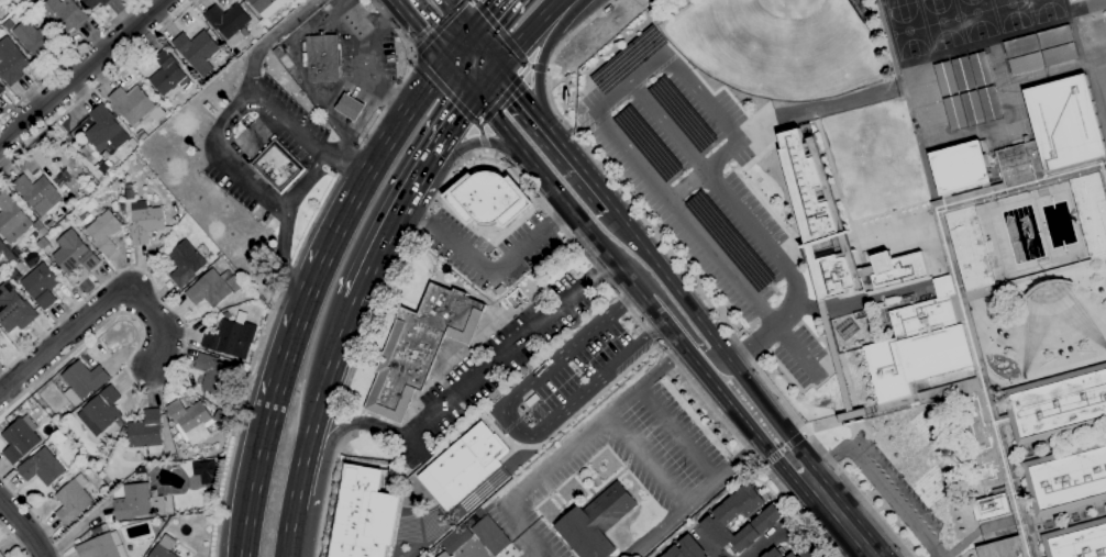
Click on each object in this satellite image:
building: (275, 0)
road: (473, 1)
park: (897, 2)
road: (1099, 2)
building: (95, 3)
building: (261, 4)
building: (607, 9)
park: (1047, 10)
park: (1011, 13)
building: (64, 15)
road: (460, 15)
road: (486, 16)
park: (976, 19)
building: (228, 20)
road: (378, 20)
park: (942, 23)
building: (8, 25)
road: (440, 26)
road: (423, 30)
road: (499, 31)
park: (908, 31)
road: (528, 32)
traffic signals: (472, 34)
road: (267, 38)
building: (36, 40)
park: (776, 46)
road: (460, 47)
building: (197, 51)
road: (486, 51)
building: (1040, 51)
building: (277, 54)
road: (412, 55)
road: (68, 58)
road: (542, 58)
building: (322, 59)
road: (412, 59)
traffic signals: (449, 60)
building: (627, 60)
road: (361, 62)
building: (11, 63)
road: (527, 65)
traffic signals: (500, 67)
road: (538, 68)
road: (81, 70)
road: (548, 70)
road: (524, 71)
road: (403, 74)
building: (168, 75)
road: (462, 77)
road: (487, 80)
road: (97, 83)
building: (1, 90)
road: (360, 90)
road: (445, 91)
building: (969, 91)
traffic signals: (475, 94)
road: (519, 94)
road: (501, 99)
building: (133, 105)
building: (350, 108)
gas station: (350, 108)
road: (351, 108)
building: (682, 114)
road: (717, 116)
road: (222, 118)
road: (480, 125)
road: (667, 126)
road: (451, 127)
road: (477, 127)
building: (103, 129)
building: (1055, 131)
building: (142, 135)
road: (345, 137)
road: (475, 142)
road: (483, 142)
building: (648, 143)
road: (485, 151)
road: (381, 154)
road: (347, 161)
road: (349, 161)
road: (577, 164)
building: (961, 167)
building: (278, 168)
road: (306, 179)
road: (418, 181)
building: (33, 191)
parking lot: (703, 191)
building: (489, 199)
road: (670, 202)
building: (1092, 211)
building: (11, 219)
road: (316, 221)
building: (144, 222)
building: (36, 226)
road: (561, 227)
building: (834, 230)
building: (103, 232)
building: (31, 242)
building: (730, 242)
road: (768, 243)
building: (42, 244)
parking lot: (486, 247)
building: (0, 249)
road: (379, 249)
building: (970, 249)
building: (74, 253)
building: (8, 255)
road: (284, 260)
building: (185, 264)
road: (488, 271)
road: (288, 276)
road: (687, 280)
building: (41, 286)
building: (209, 289)
road: (635, 289)
road: (622, 303)
road: (100, 307)
building: (13, 309)
building: (861, 315)
road: (684, 326)
building: (848, 330)
road: (298, 333)
building: (231, 338)
road: (712, 339)
road: (750, 343)
building: (919, 346)
building: (973, 346)
building: (420, 348)
road: (509, 348)
road: (629, 348)
road: (795, 350)
parking lot: (489, 365)
road: (548, 365)
road: (174, 369)
building: (212, 374)
road: (328, 376)
parking lot: (564, 380)
building: (82, 381)
building: (1057, 405)
road: (534, 406)
building: (101, 411)
road: (556, 414)
road: (572, 416)
building: (223, 419)
road: (240, 419)
building: (190, 420)
road: (352, 423)
road: (509, 424)
road: (499, 428)
building: (146, 432)
road: (338, 433)
road: (804, 433)
road: (676, 435)
building: (19, 442)
road: (794, 442)
road: (568, 448)
road: (783, 449)
road: (773, 457)
road: (646, 461)
building: (462, 465)
road: (764, 465)
building: (42, 468)
building: (204, 472)
road: (299, 479)
building: (1066, 480)
road: (877, 481)
parking lot: (897, 482)
road: (255, 483)
road: (325, 492)
road: (695, 498)
building: (74, 500)
building: (137, 503)
building: (991, 508)
building: (362, 514)
road: (31, 516)
road: (838, 516)
building: (767, 519)
building: (596, 522)
road: (23, 527)
road: (778, 530)
road: (288, 531)
building: (490, 536)
road: (13, 539)
building: (457, 541)
building: (1077, 541)
road: (705, 544)
building: (102, 547)
building: (164, 547)
building: (686, 549)
building: (1003, 549)
road: (532, 553)
building: (773, 554)
building: (1, 555)
building: (444, 555)
building: (790, 555)
park: (398, 556)
road: (871, 556)

